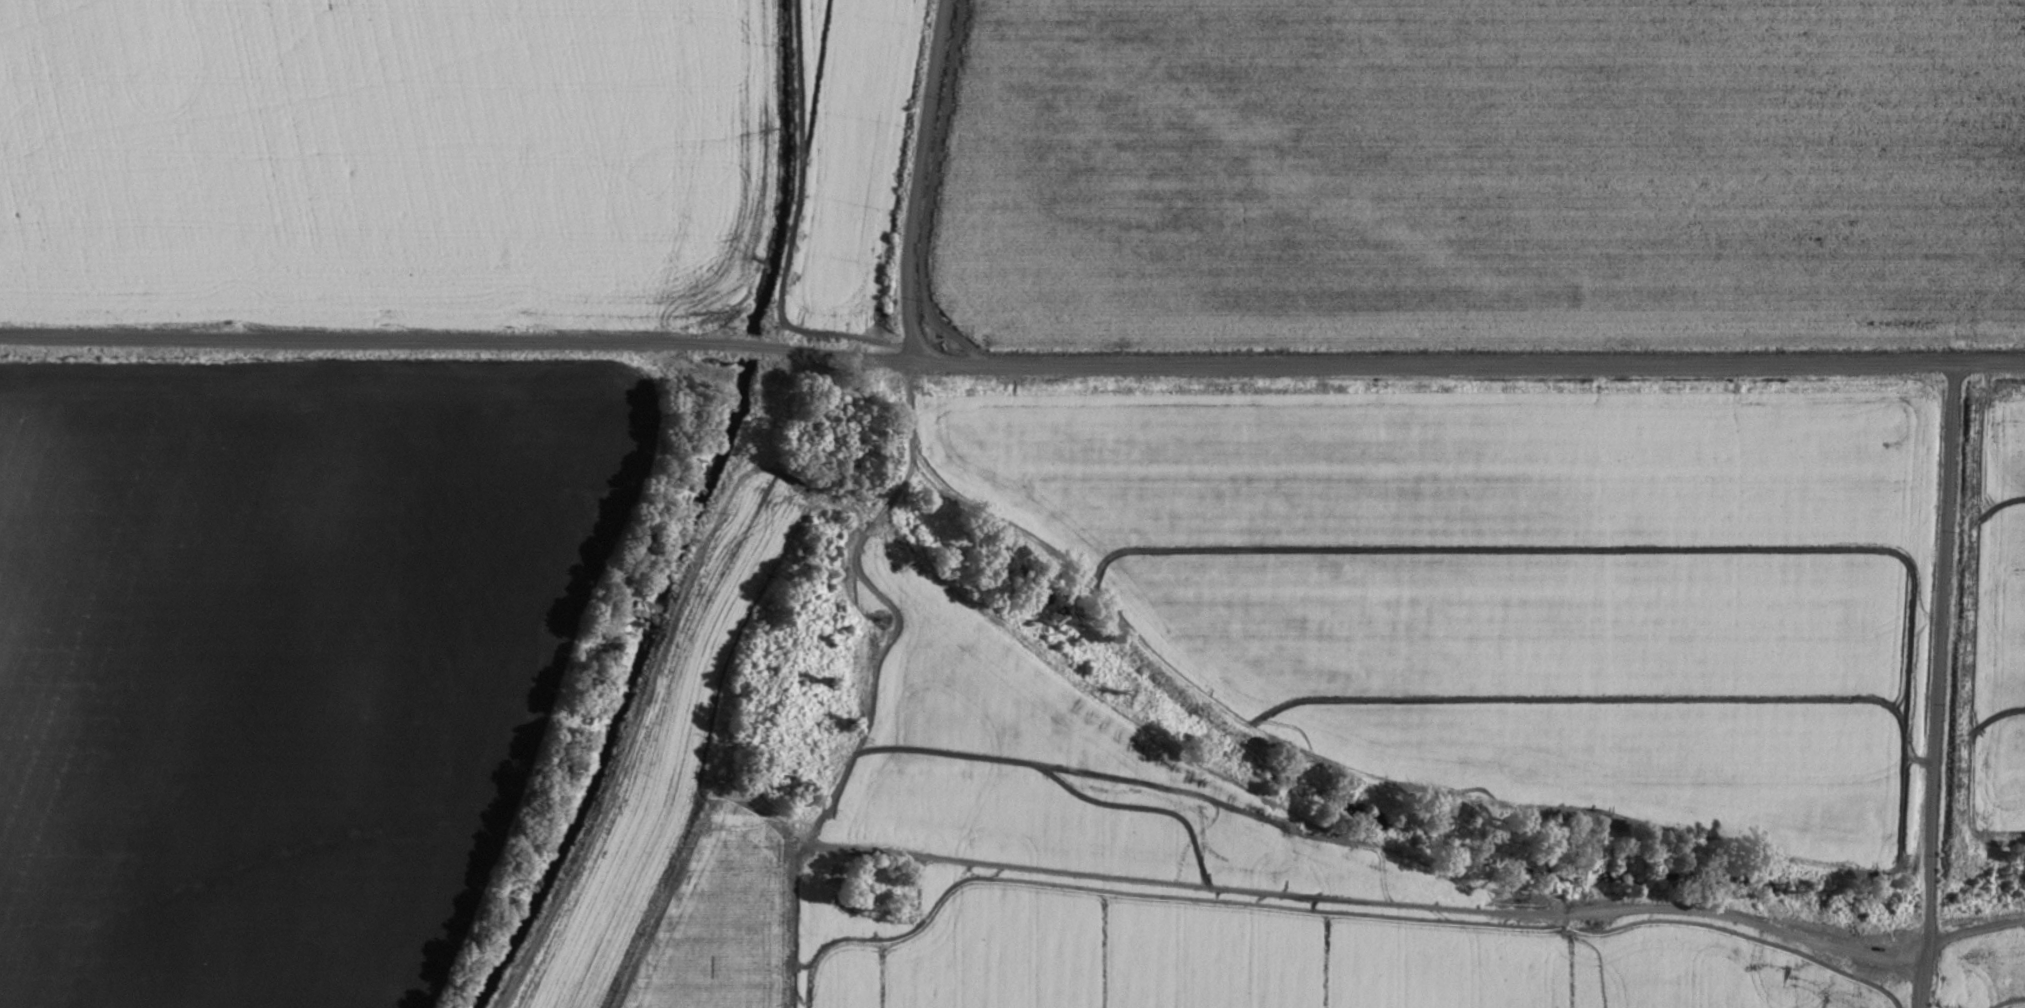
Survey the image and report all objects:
road: (927, 176)
road: (1012, 361)
road: (1943, 688)

